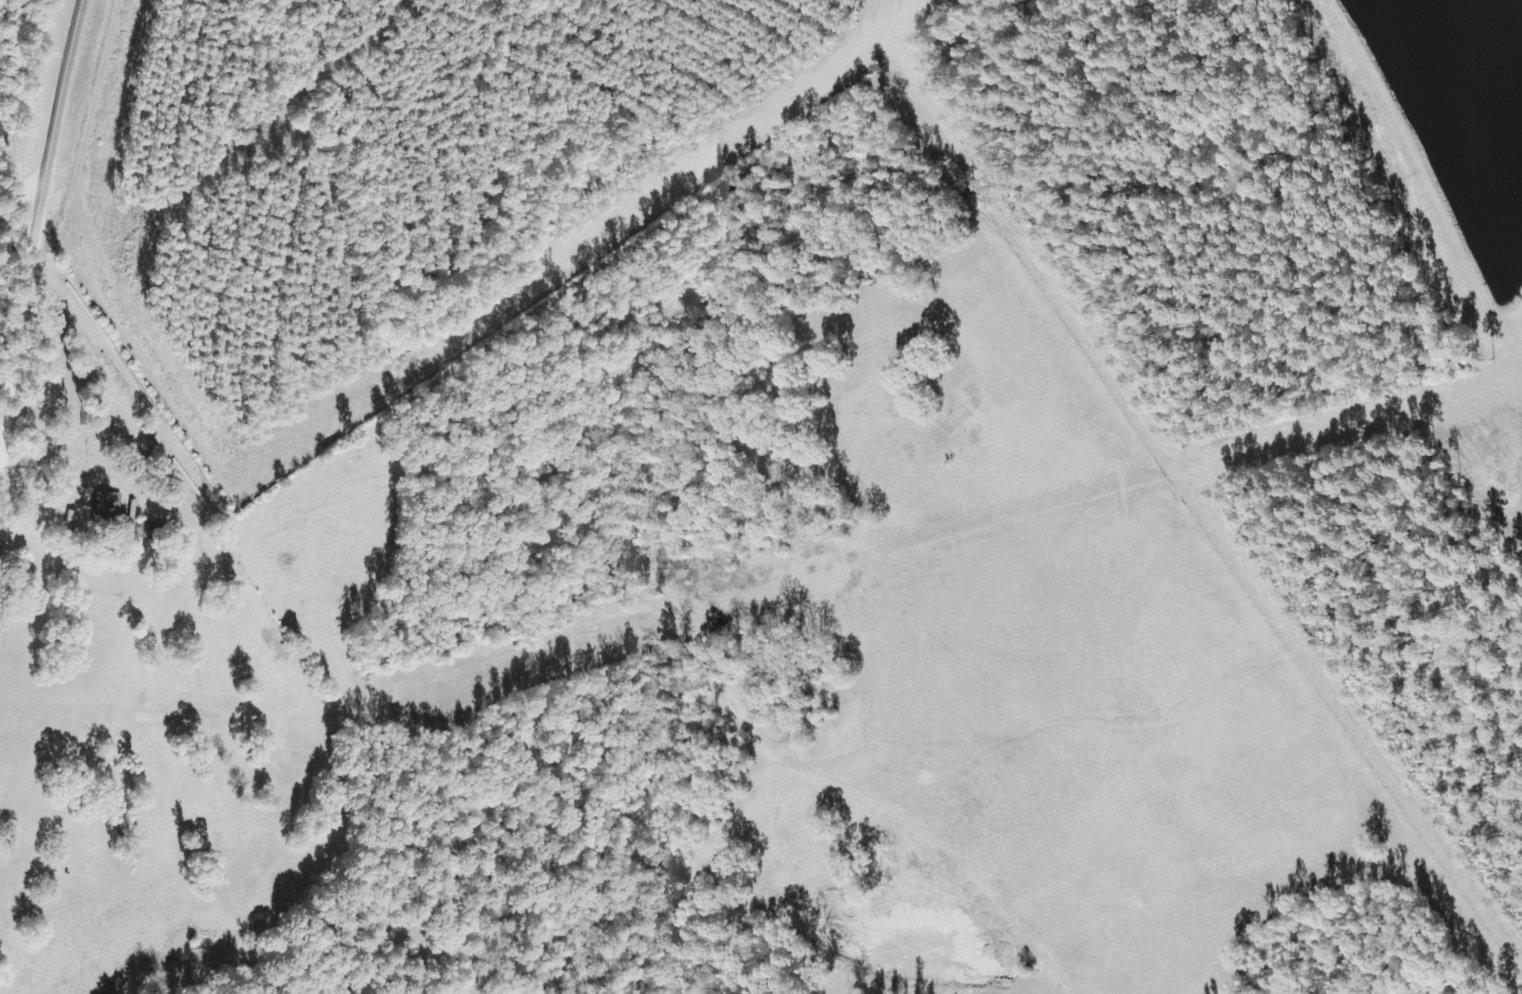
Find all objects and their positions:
road: (57, 115)
road: (19, 200)
road: (19, 286)
building: (107, 507)

